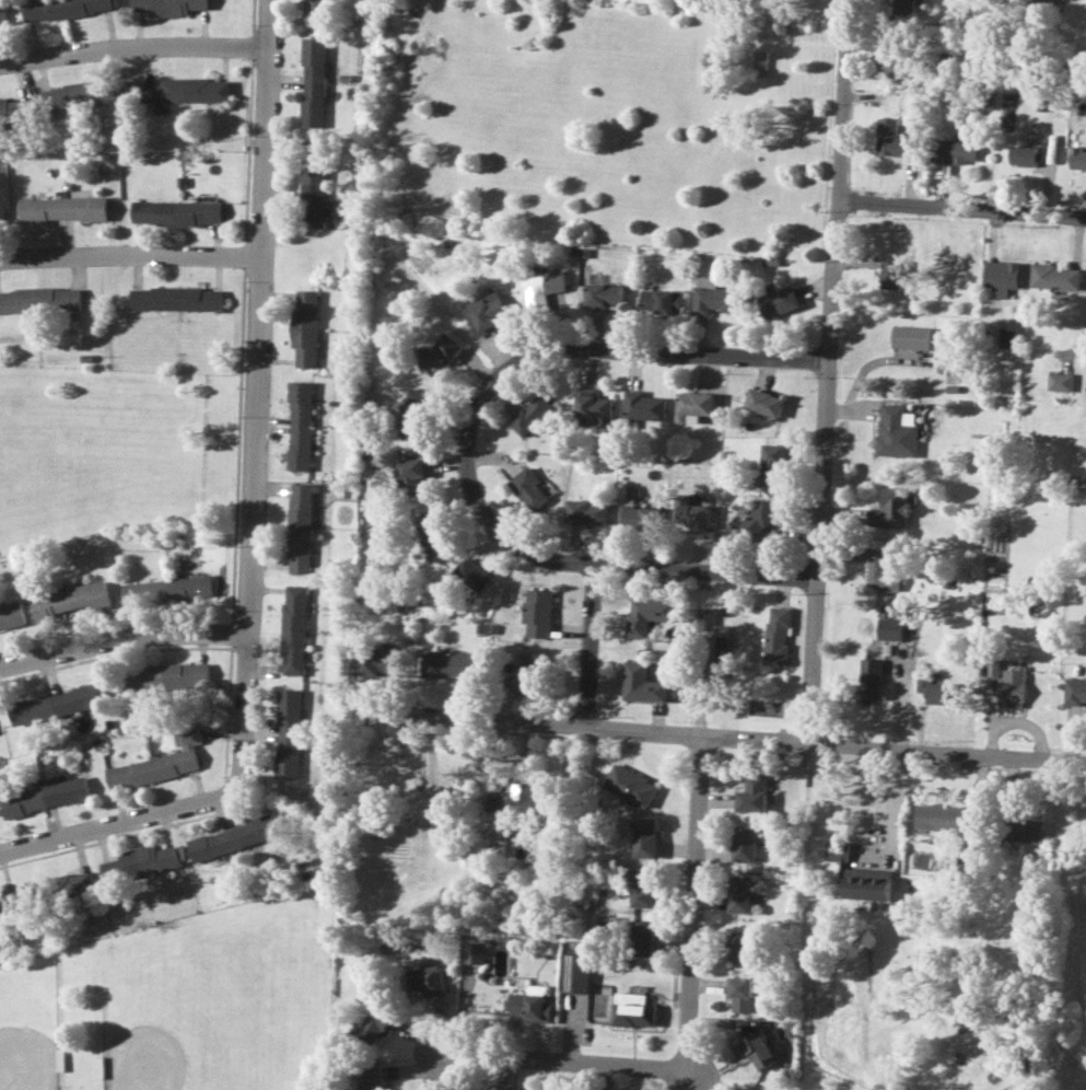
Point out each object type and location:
building: (170, 5)
building: (902, 7)
building: (61, 8)
building: (316, 12)
building: (3, 15)
road: (130, 43)
building: (759, 62)
building: (891, 66)
building: (314, 81)
building: (185, 90)
building: (83, 94)
building: (13, 111)
building: (890, 138)
building: (954, 150)
building: (1023, 154)
building: (314, 196)
building: (63, 208)
road: (964, 211)
building: (176, 212)
road: (129, 256)
building: (894, 274)
building: (1002, 276)
building: (1055, 276)
building: (553, 281)
building: (607, 293)
building: (713, 297)
building: (176, 298)
building: (39, 299)
building: (661, 300)
building: (780, 302)
building: (486, 312)
building: (305, 327)
building: (910, 336)
building: (1007, 338)
road: (634, 343)
building: (441, 353)
road: (829, 372)
building: (1060, 381)
road: (254, 397)
building: (764, 402)
building: (696, 404)
building: (643, 405)
building: (594, 406)
building: (413, 414)
building: (530, 414)
building: (300, 425)
building: (896, 431)
park: (110, 449)
building: (773, 464)
building: (411, 476)
building: (528, 487)
building: (892, 508)
building: (585, 511)
building: (696, 515)
building: (638, 517)
building: (299, 526)
building: (432, 530)
road: (591, 567)
building: (472, 575)
building: (166, 591)
building: (68, 600)
building: (537, 612)
building: (646, 614)
building: (11, 615)
building: (705, 615)
building: (890, 628)
building: (293, 629)
building: (778, 635)
road: (591, 647)
building: (720, 647)
road: (124, 653)
building: (376, 663)
building: (449, 664)
building: (527, 674)
building: (164, 676)
building: (871, 680)
building: (641, 683)
building: (1012, 687)
building: (937, 691)
building: (1075, 691)
building: (54, 705)
building: (288, 733)
road: (725, 735)
building: (159, 764)
building: (631, 786)
building: (754, 793)
building: (45, 796)
building: (526, 797)
building: (494, 804)
building: (938, 817)
road: (121, 826)
building: (1024, 830)
building: (646, 836)
building: (232, 837)
building: (746, 844)
building: (140, 863)
building: (861, 877)
building: (78, 884)
building: (644, 888)
building: (740, 893)
building: (26, 896)
building: (642, 937)
building: (739, 943)
building: (474, 952)
building: (576, 972)
building: (424, 978)
building: (740, 993)
park: (218, 1004)
building: (532, 1004)
park: (179, 1005)
building: (633, 1009)
park: (32, 1024)
building: (373, 1024)
building: (758, 1050)
road: (696, 1053)
building: (371, 1077)

